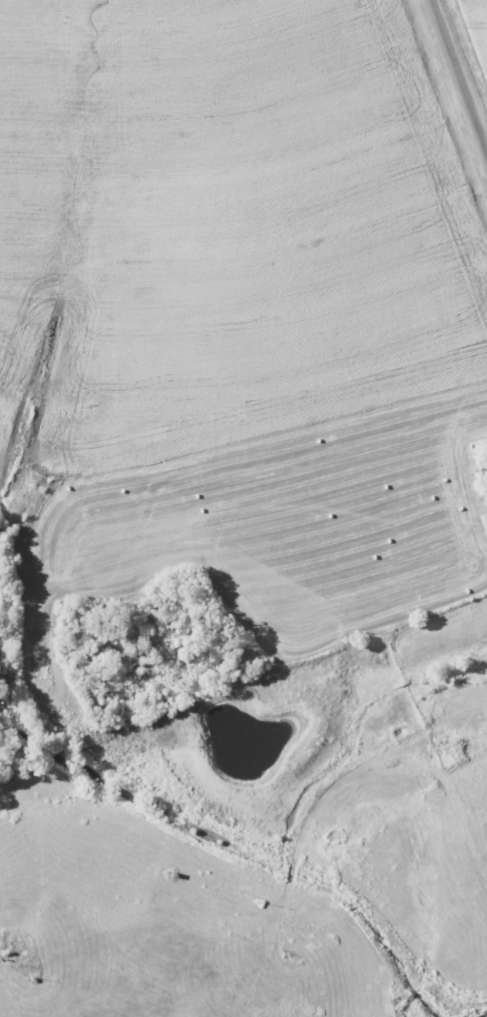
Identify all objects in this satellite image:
road: (458, 77)

